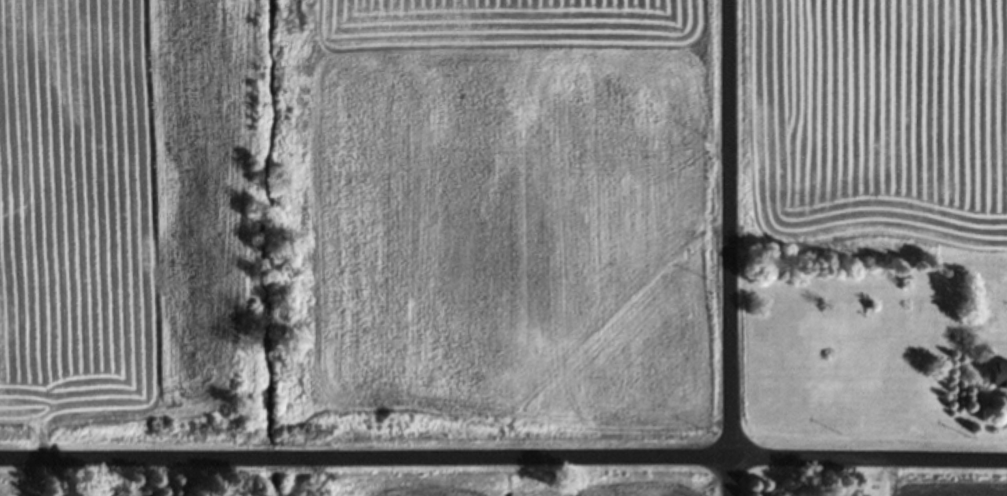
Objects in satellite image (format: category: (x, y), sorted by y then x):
road: (727, 247)
building: (997, 375)
road: (503, 458)

